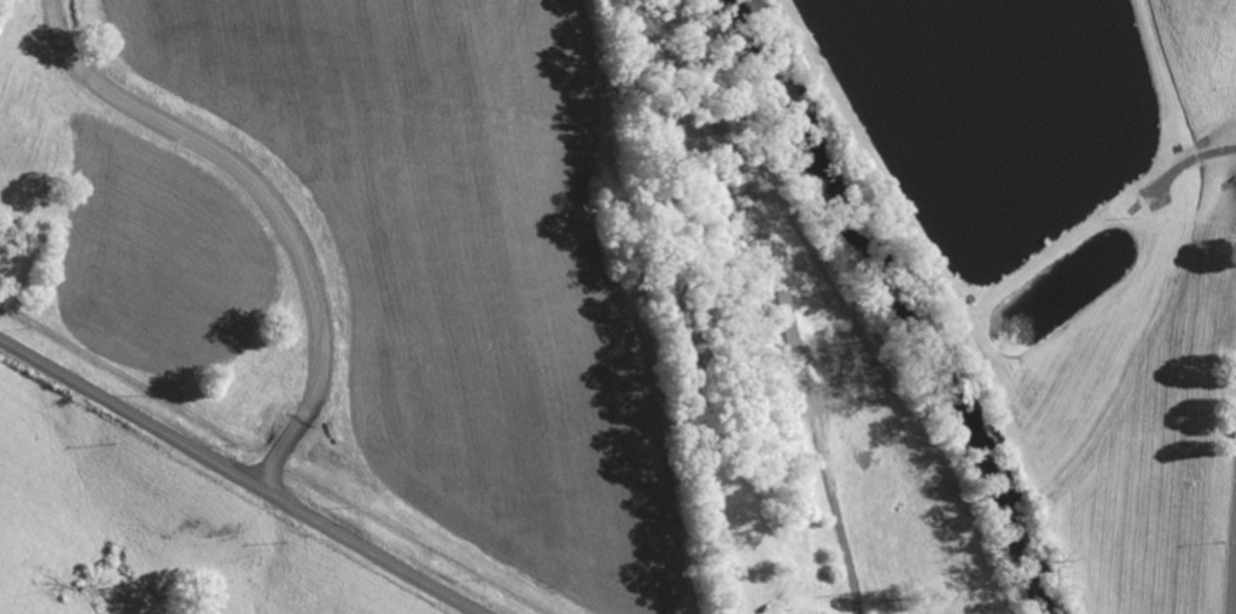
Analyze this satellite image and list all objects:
road: (272, 204)
wastewater plant: (1077, 247)
wastewater plant: (367, 267)
building: (780, 318)
road: (238, 479)
road: (833, 498)
road: (1235, 612)

